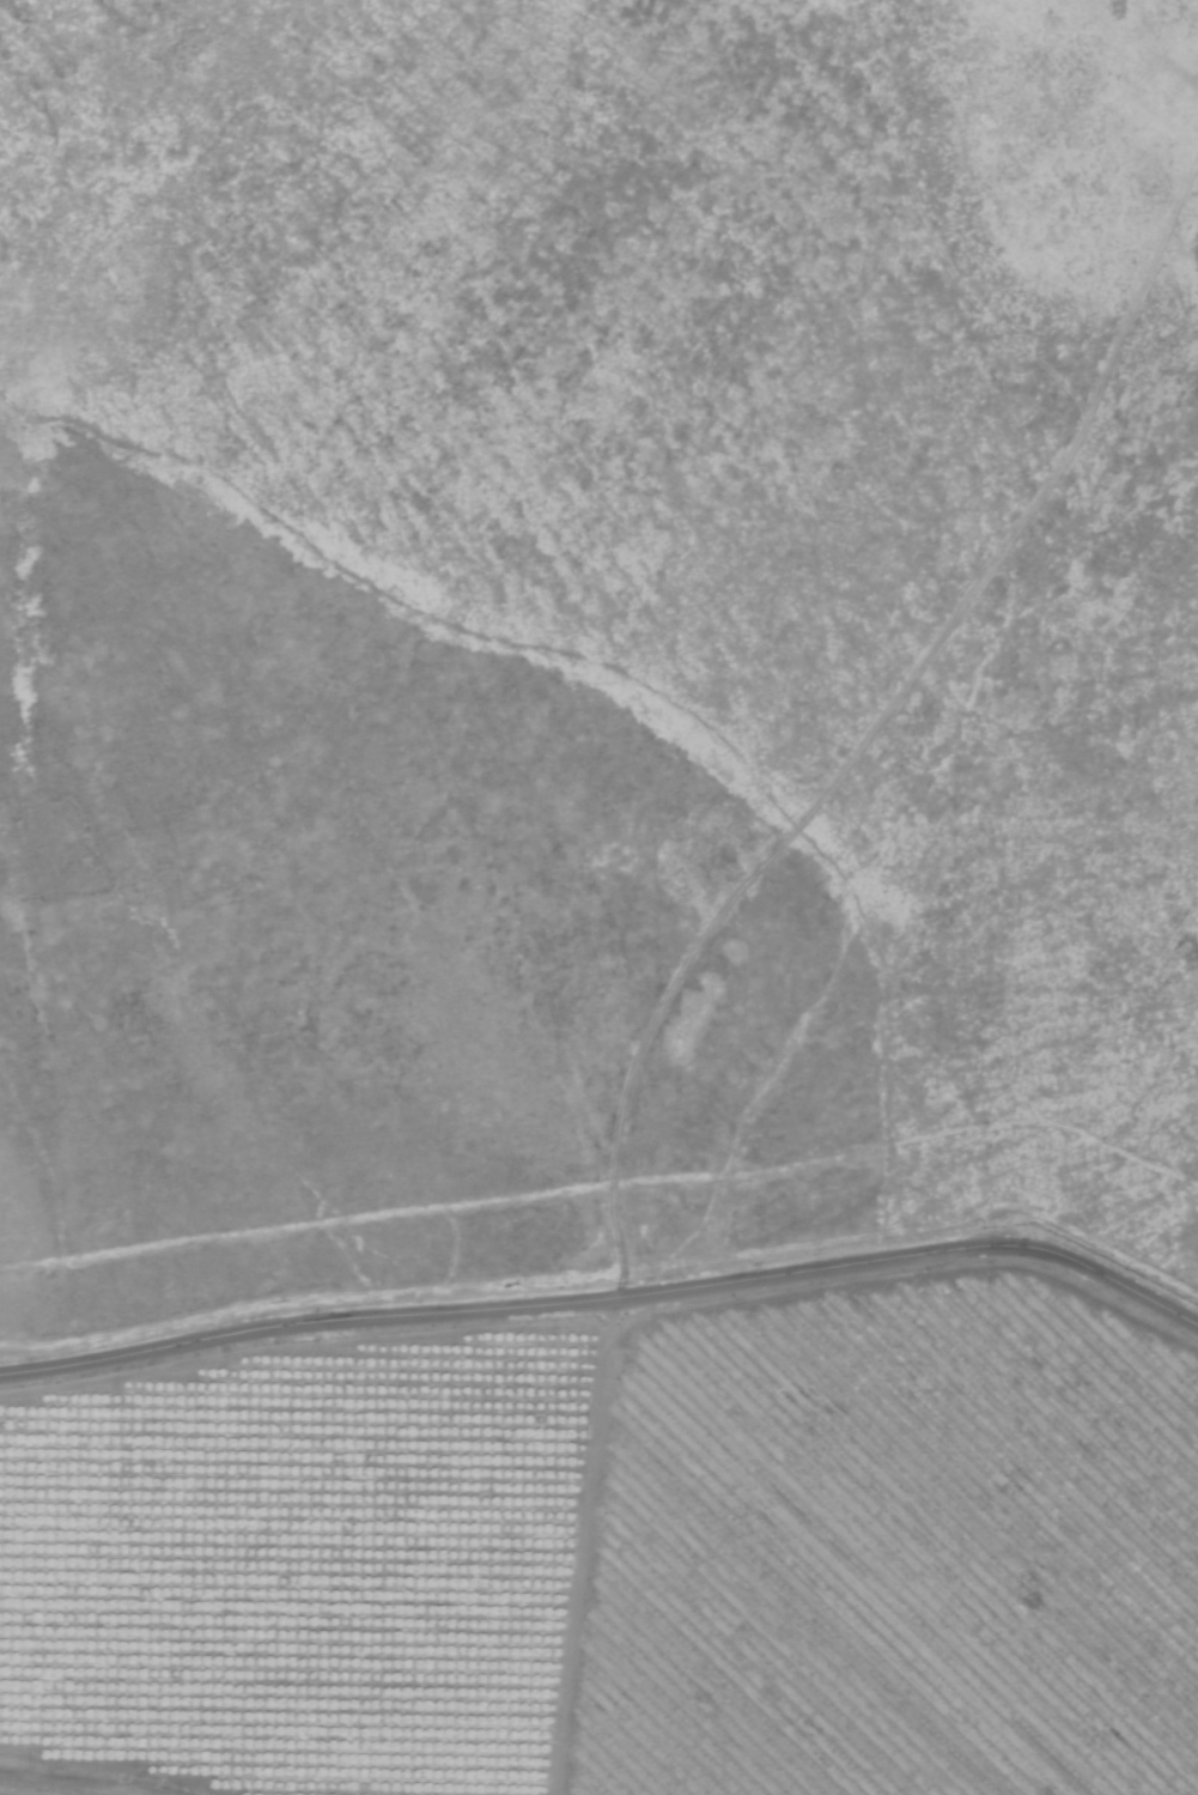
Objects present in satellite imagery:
road: (607, 1298)

